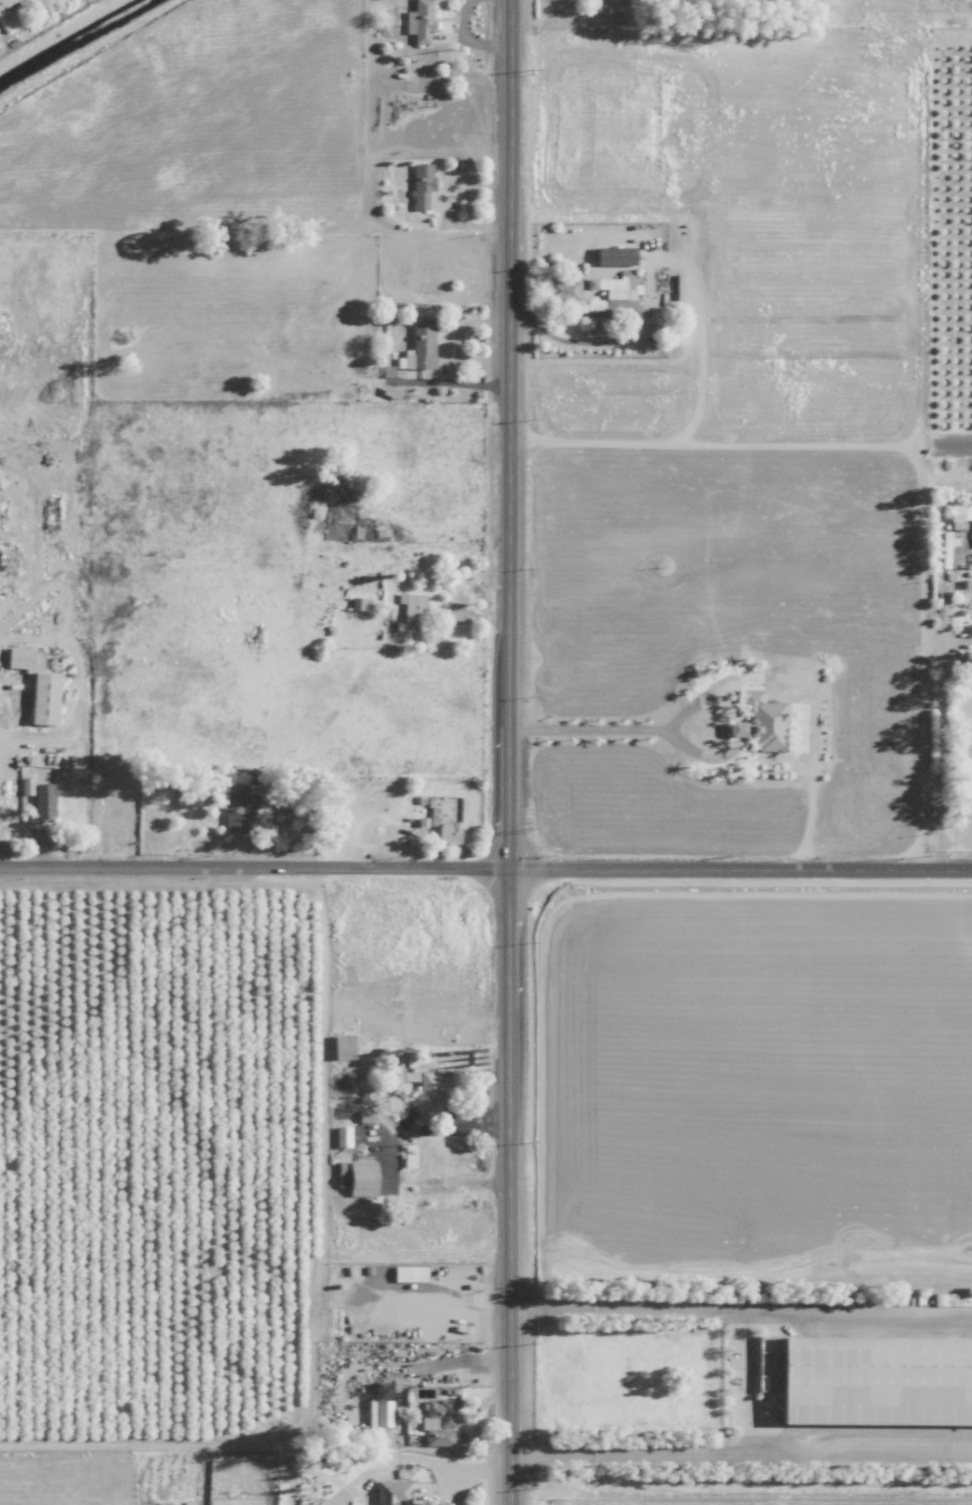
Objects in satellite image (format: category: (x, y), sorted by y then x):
building: (5, 2)
building: (419, 20)
road: (467, 39)
building: (421, 184)
building: (589, 288)
crop: (185, 339)
road: (606, 341)
building: (418, 345)
crop: (744, 456)
building: (359, 604)
building: (413, 606)
building: (37, 685)
building: (759, 722)
road: (939, 722)
road: (589, 725)
road: (2, 744)
road: (508, 752)
building: (42, 801)
building: (448, 832)
road: (254, 867)
road: (739, 872)
building: (417, 1092)
building: (341, 1136)
road: (392, 1156)
building: (361, 1178)
road: (739, 1308)
road: (451, 1367)
building: (379, 1412)
building: (438, 1421)
road: (475, 1423)
road: (741, 1454)
road: (412, 1457)
road: (452, 1485)
building: (391, 1492)

